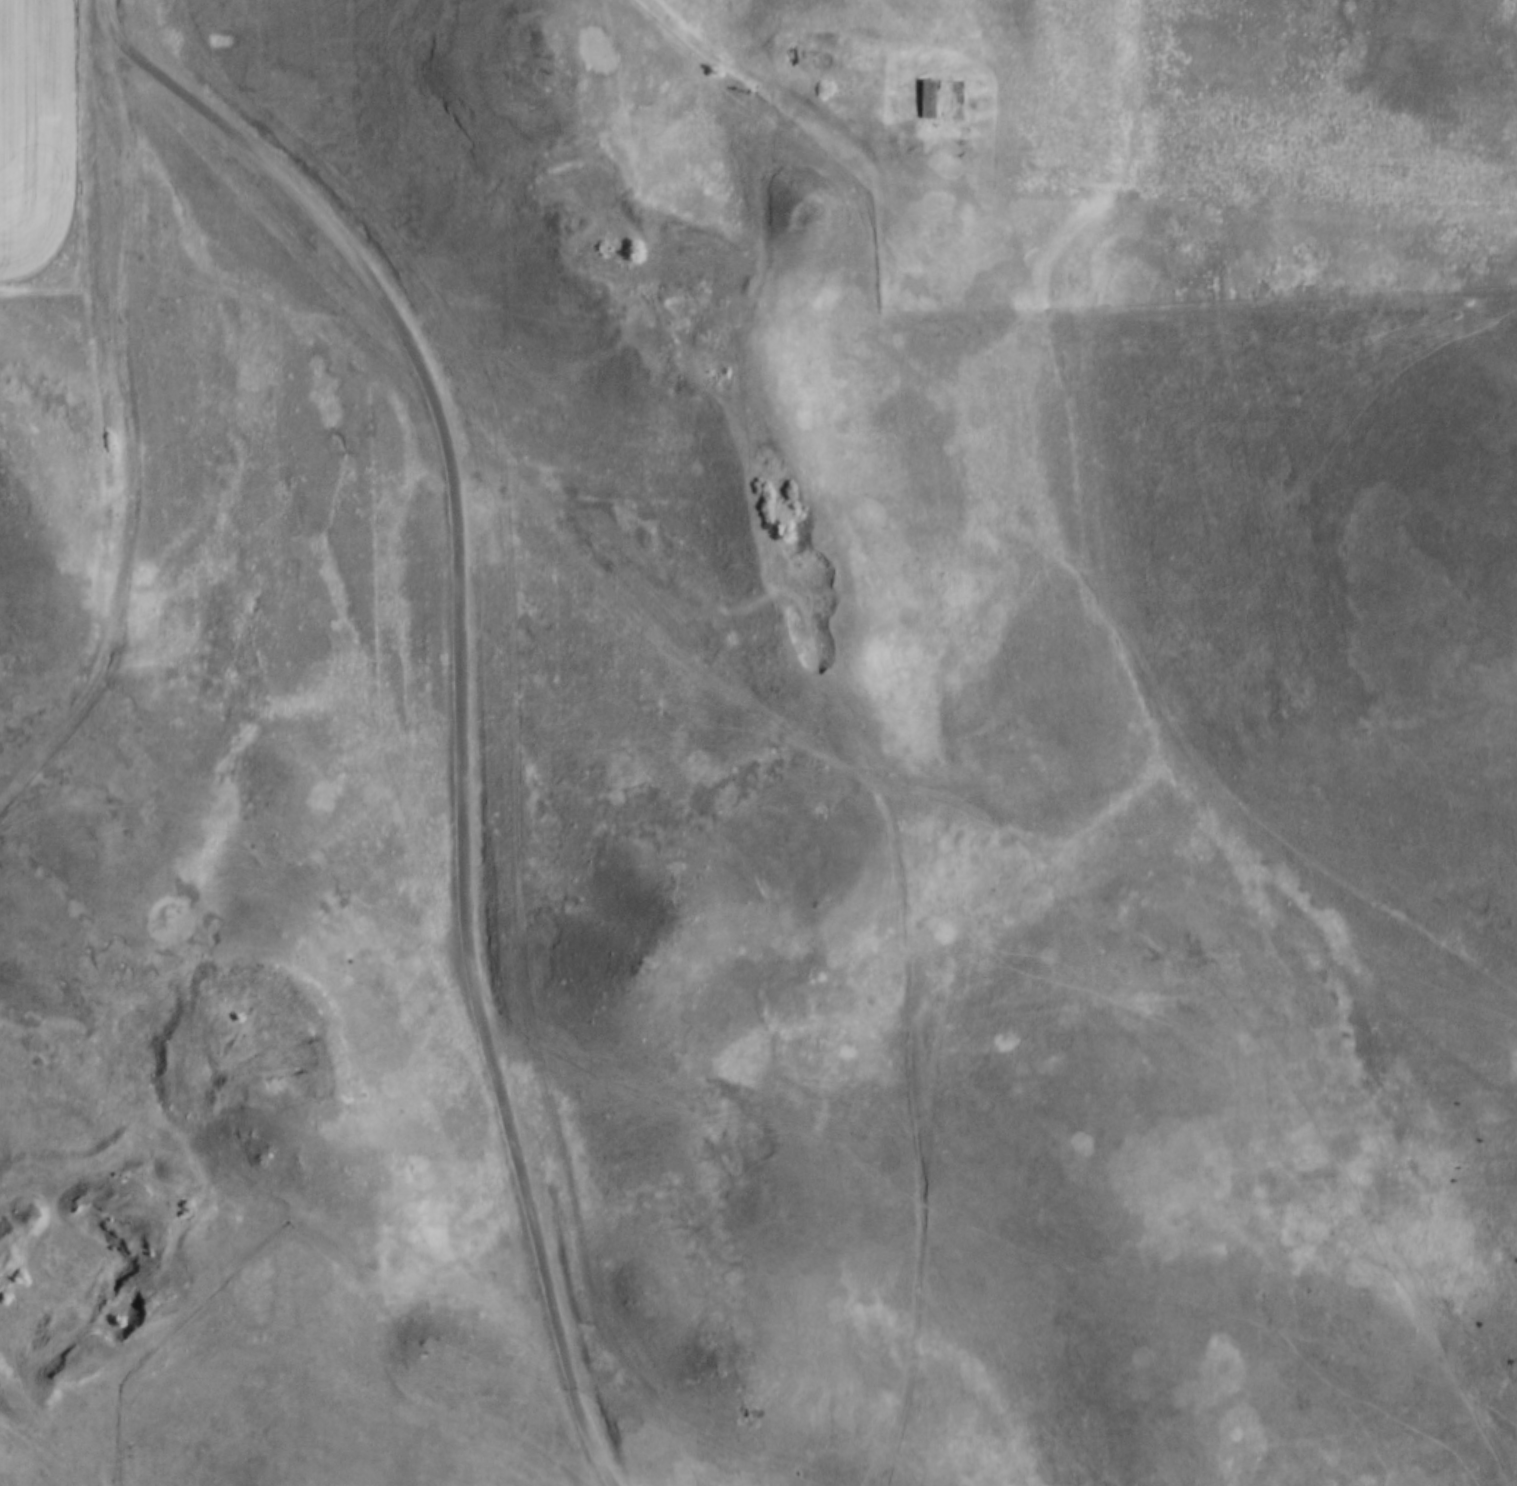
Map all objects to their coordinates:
road: (102, 2)
building: (930, 98)
road: (460, 688)
quarry: (244, 1029)
quarry: (80, 1272)

